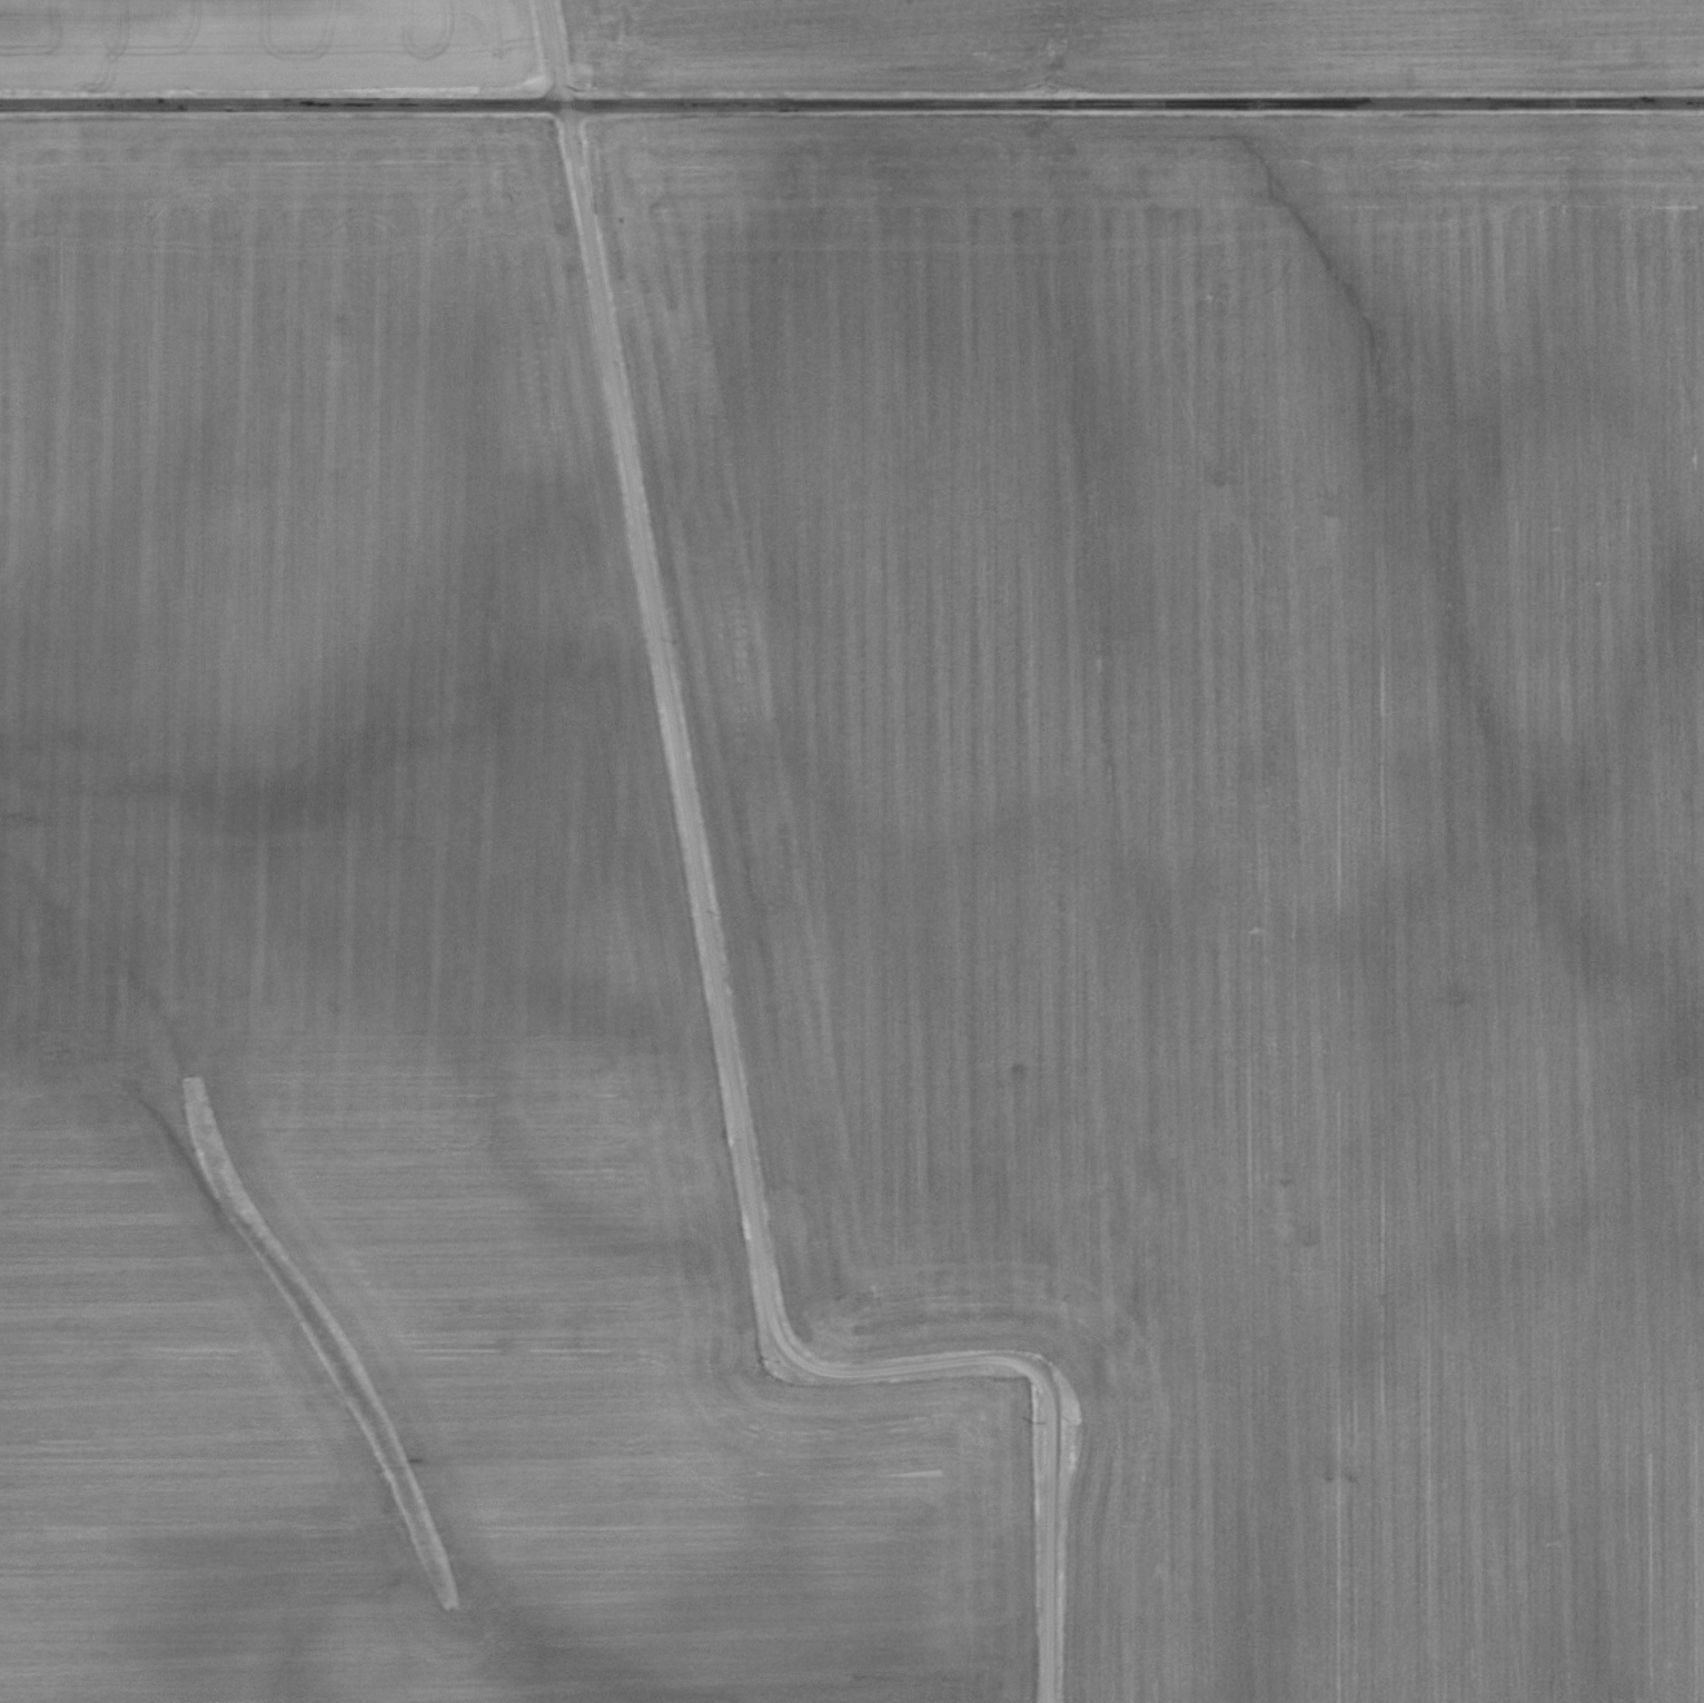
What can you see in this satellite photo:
road: (852, 105)
road: (713, 969)

